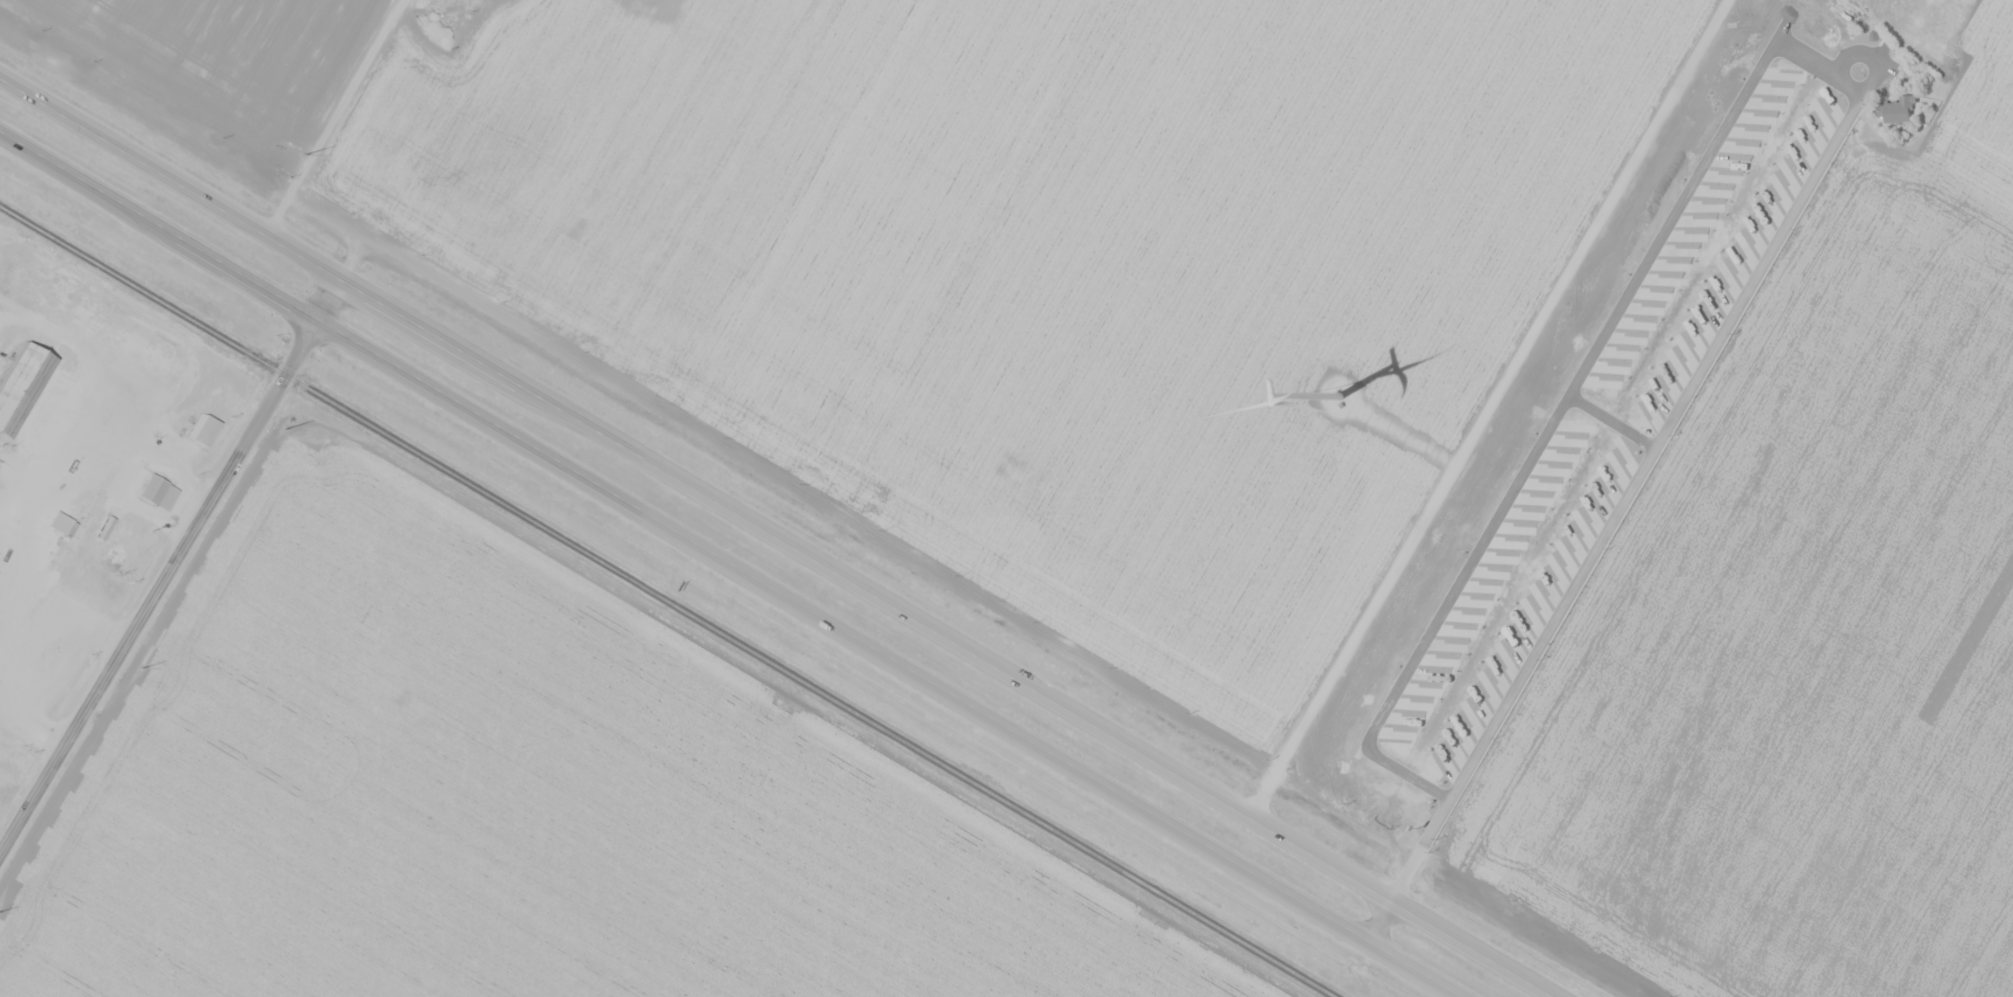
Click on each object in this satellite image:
building: (1848, 11)
building: (1847, 78)
building: (1898, 110)
road: (337, 116)
power tower: (300, 152)
building: (33, 280)
building: (62, 382)
building: (21, 385)
wind turbine: (1333, 401)
road: (1486, 403)
power tower: (284, 429)
building: (204, 432)
road: (1393, 435)
building: (43, 438)
building: (156, 493)
building: (111, 516)
road: (1612, 516)
road: (788, 541)
road: (733, 564)
road: (168, 566)
railway: (668, 601)
power tower: (141, 668)
road: (1380, 915)

